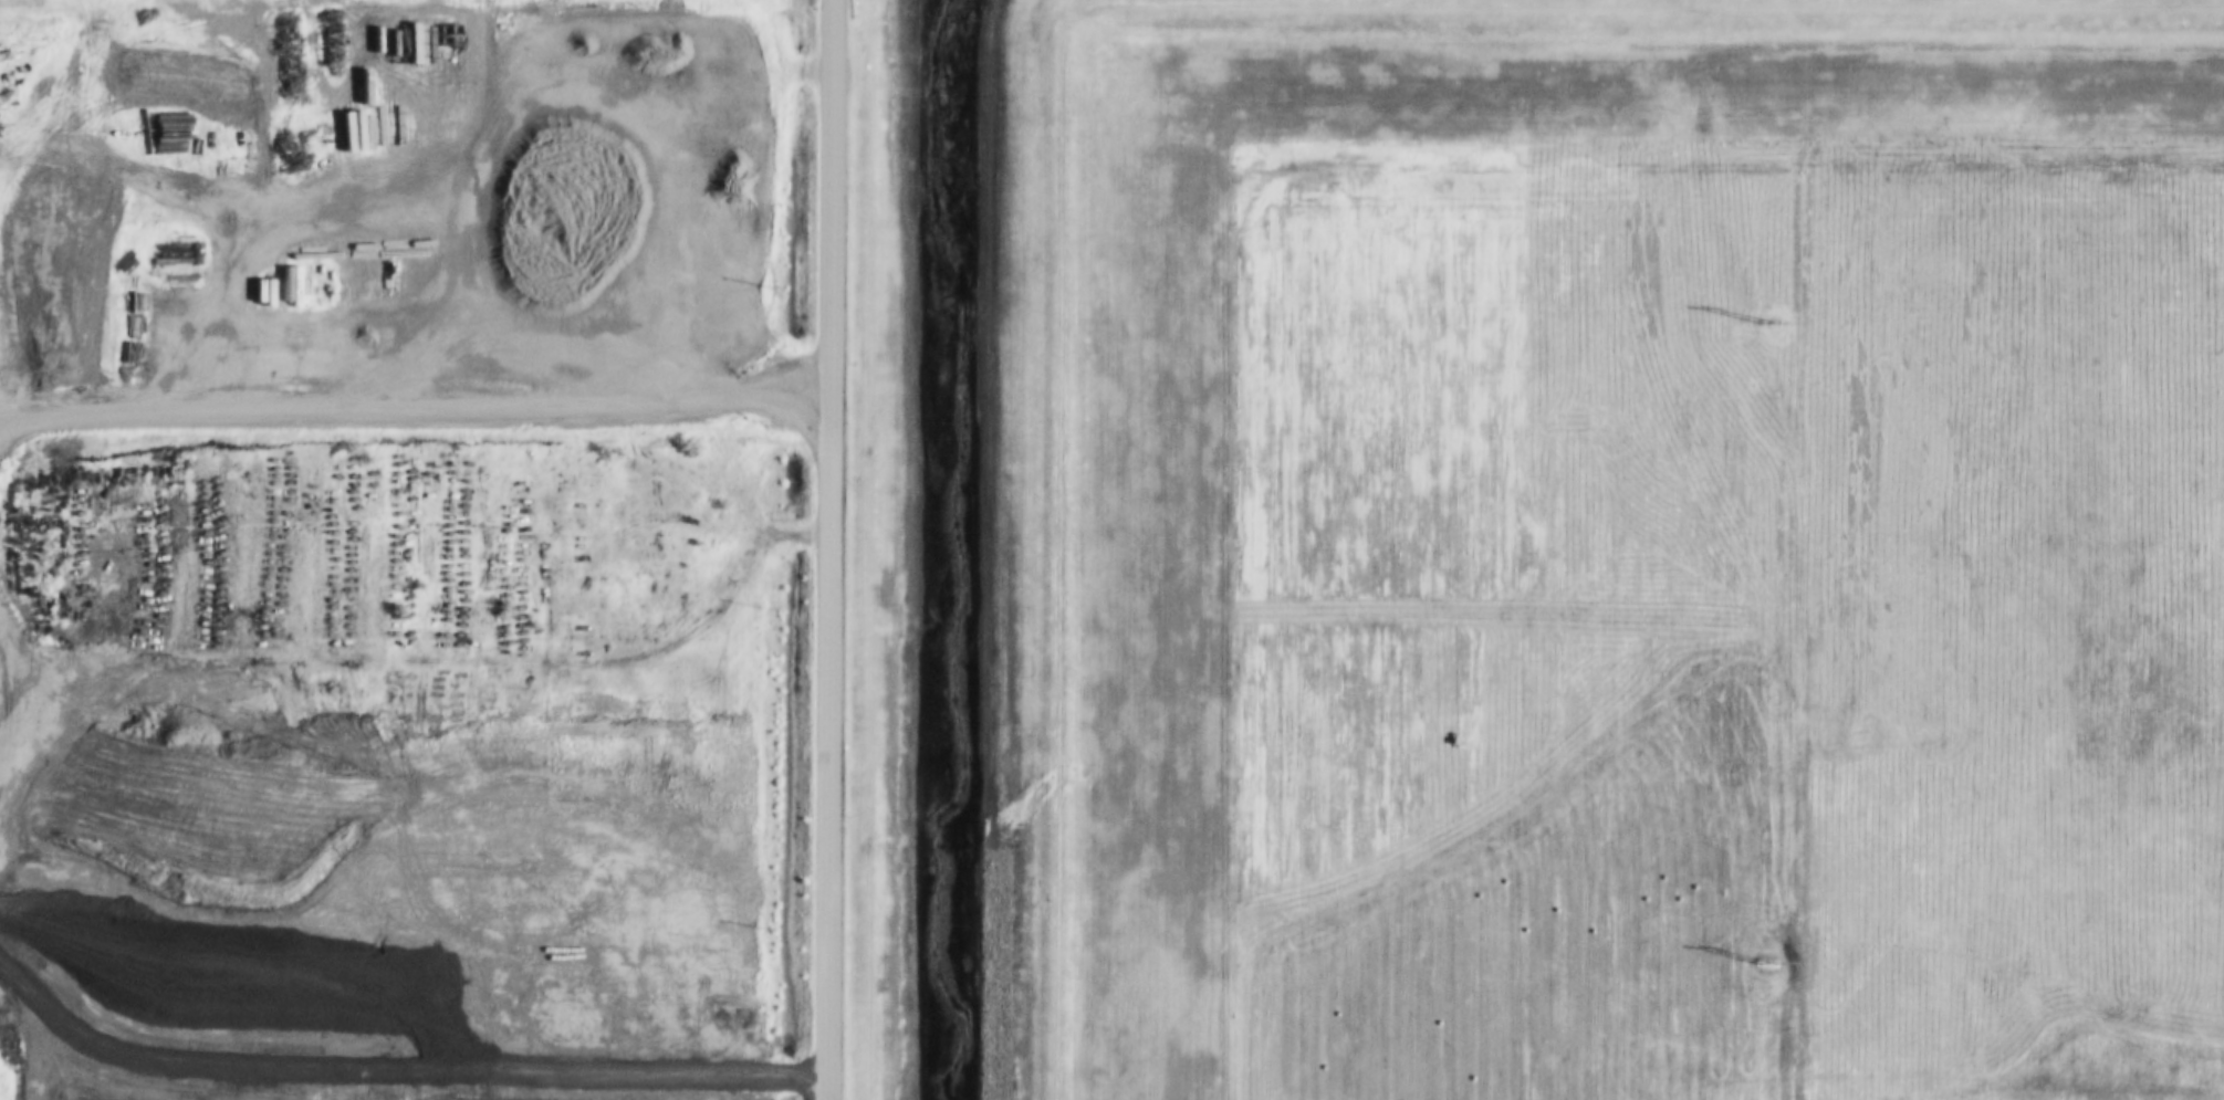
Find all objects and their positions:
quarry: (1, 209)
power tower: (1766, 325)
road: (731, 368)
road: (831, 549)
crop: (1637, 553)
power tower: (1767, 965)

